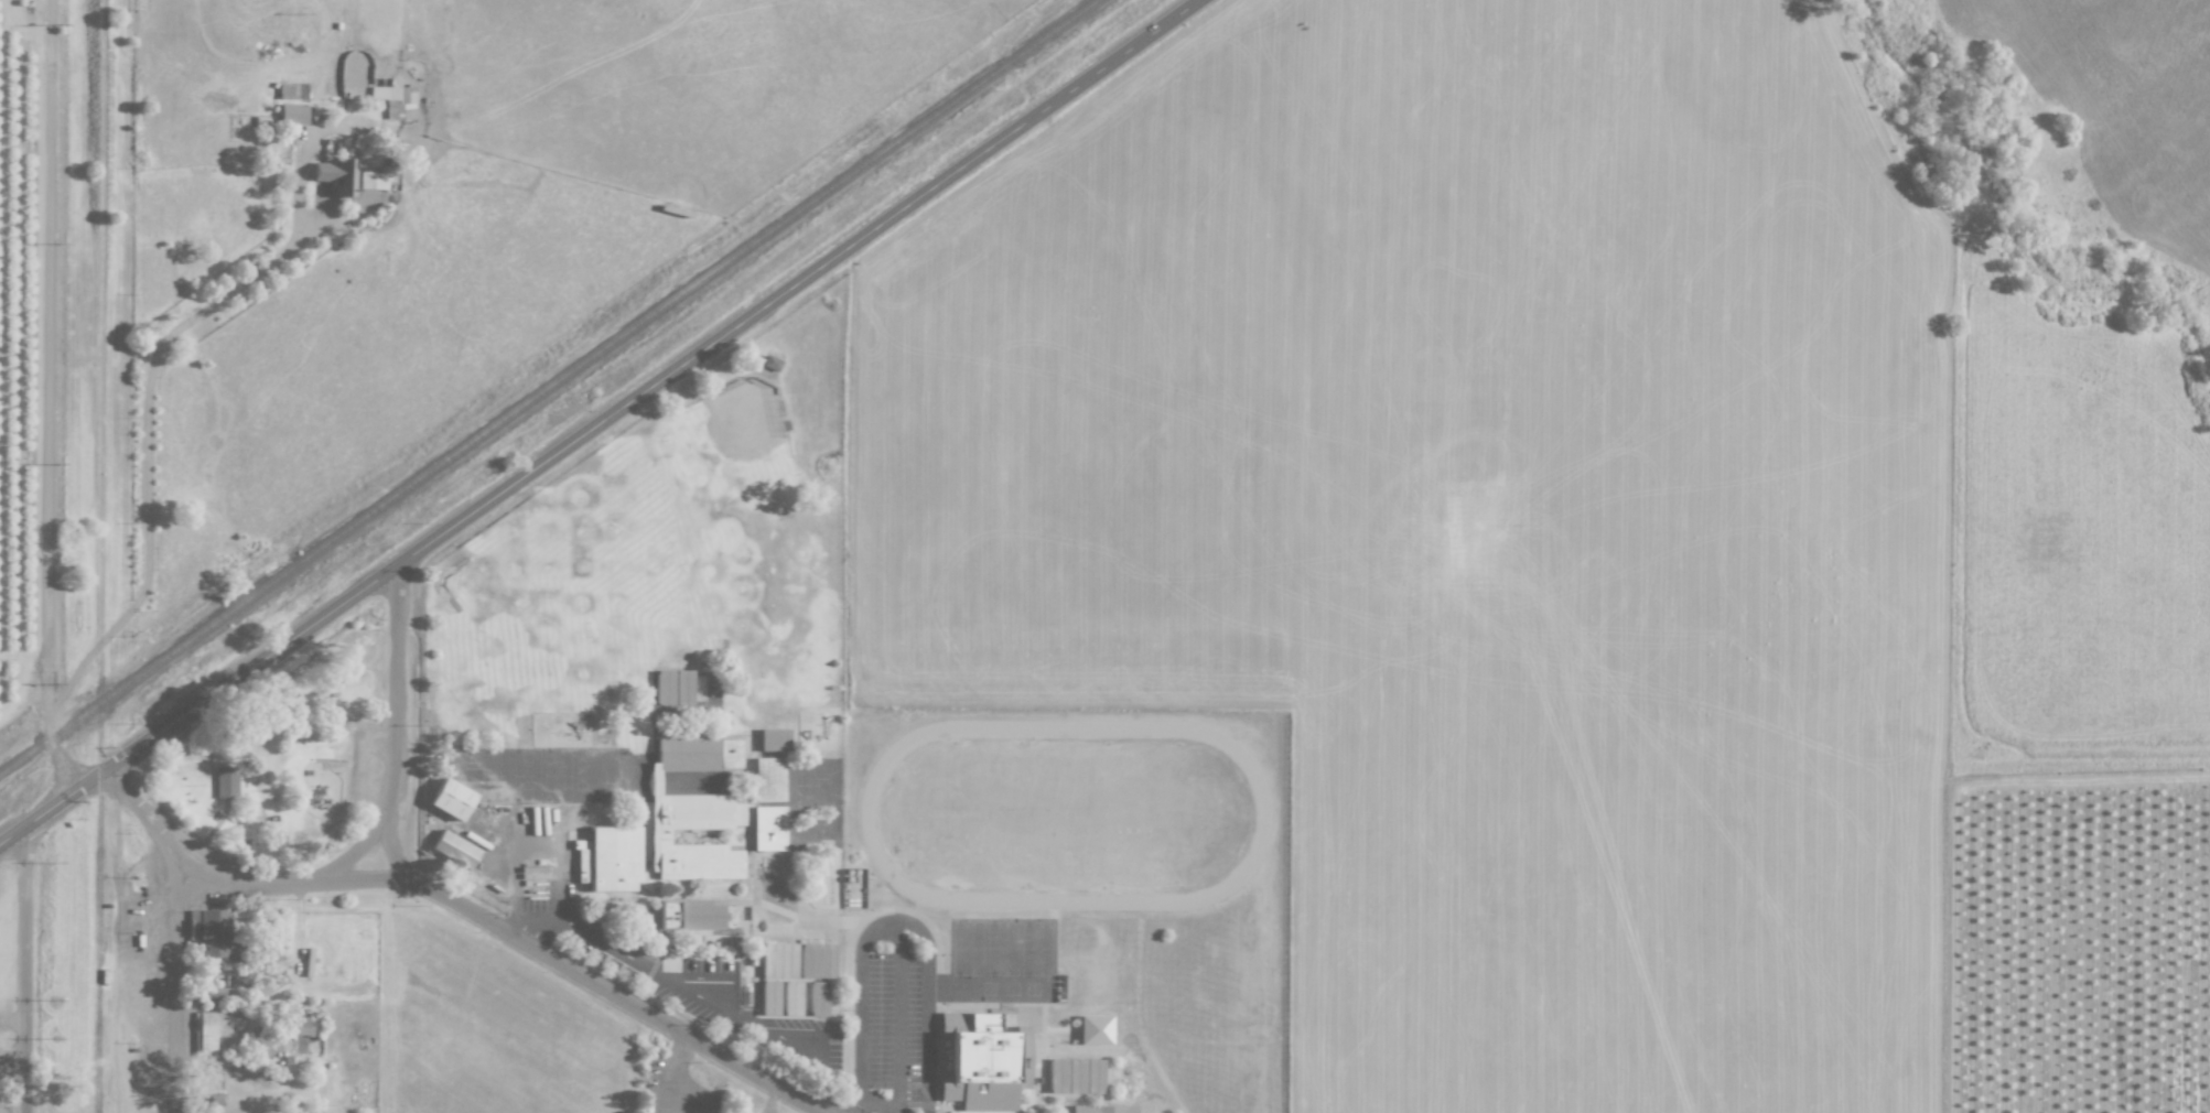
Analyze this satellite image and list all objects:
building: (396, 100)
building: (293, 114)
building: (336, 175)
building: (373, 180)
building: (770, 363)
railway: (548, 386)
road: (46, 398)
road: (600, 422)
road: (145, 451)
building: (664, 687)
building: (683, 687)
building: (774, 739)
building: (768, 779)
building: (226, 781)
building: (451, 799)
road: (386, 806)
building: (694, 810)
road: (151, 823)
building: (768, 828)
building: (454, 849)
building: (608, 860)
building: (690, 915)
road: (891, 918)
building: (211, 934)
building: (778, 959)
building: (817, 960)
road: (570, 969)
road: (25, 970)
building: (213, 994)
building: (769, 997)
building: (791, 997)
building: (818, 998)
road: (176, 999)
building: (300, 1024)
building: (214, 1029)
building: (1095, 1029)
building: (983, 1061)
building: (285, 1070)
building: (1075, 1076)
road: (668, 1088)
building: (293, 1107)
building: (1102, 1109)

